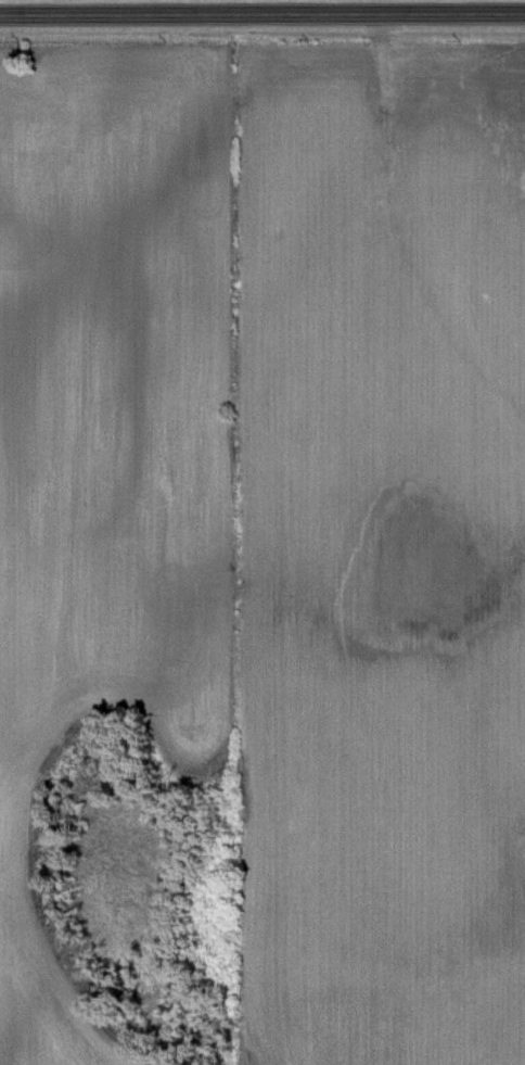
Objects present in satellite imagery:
road: (261, 13)
road: (394, 239)

